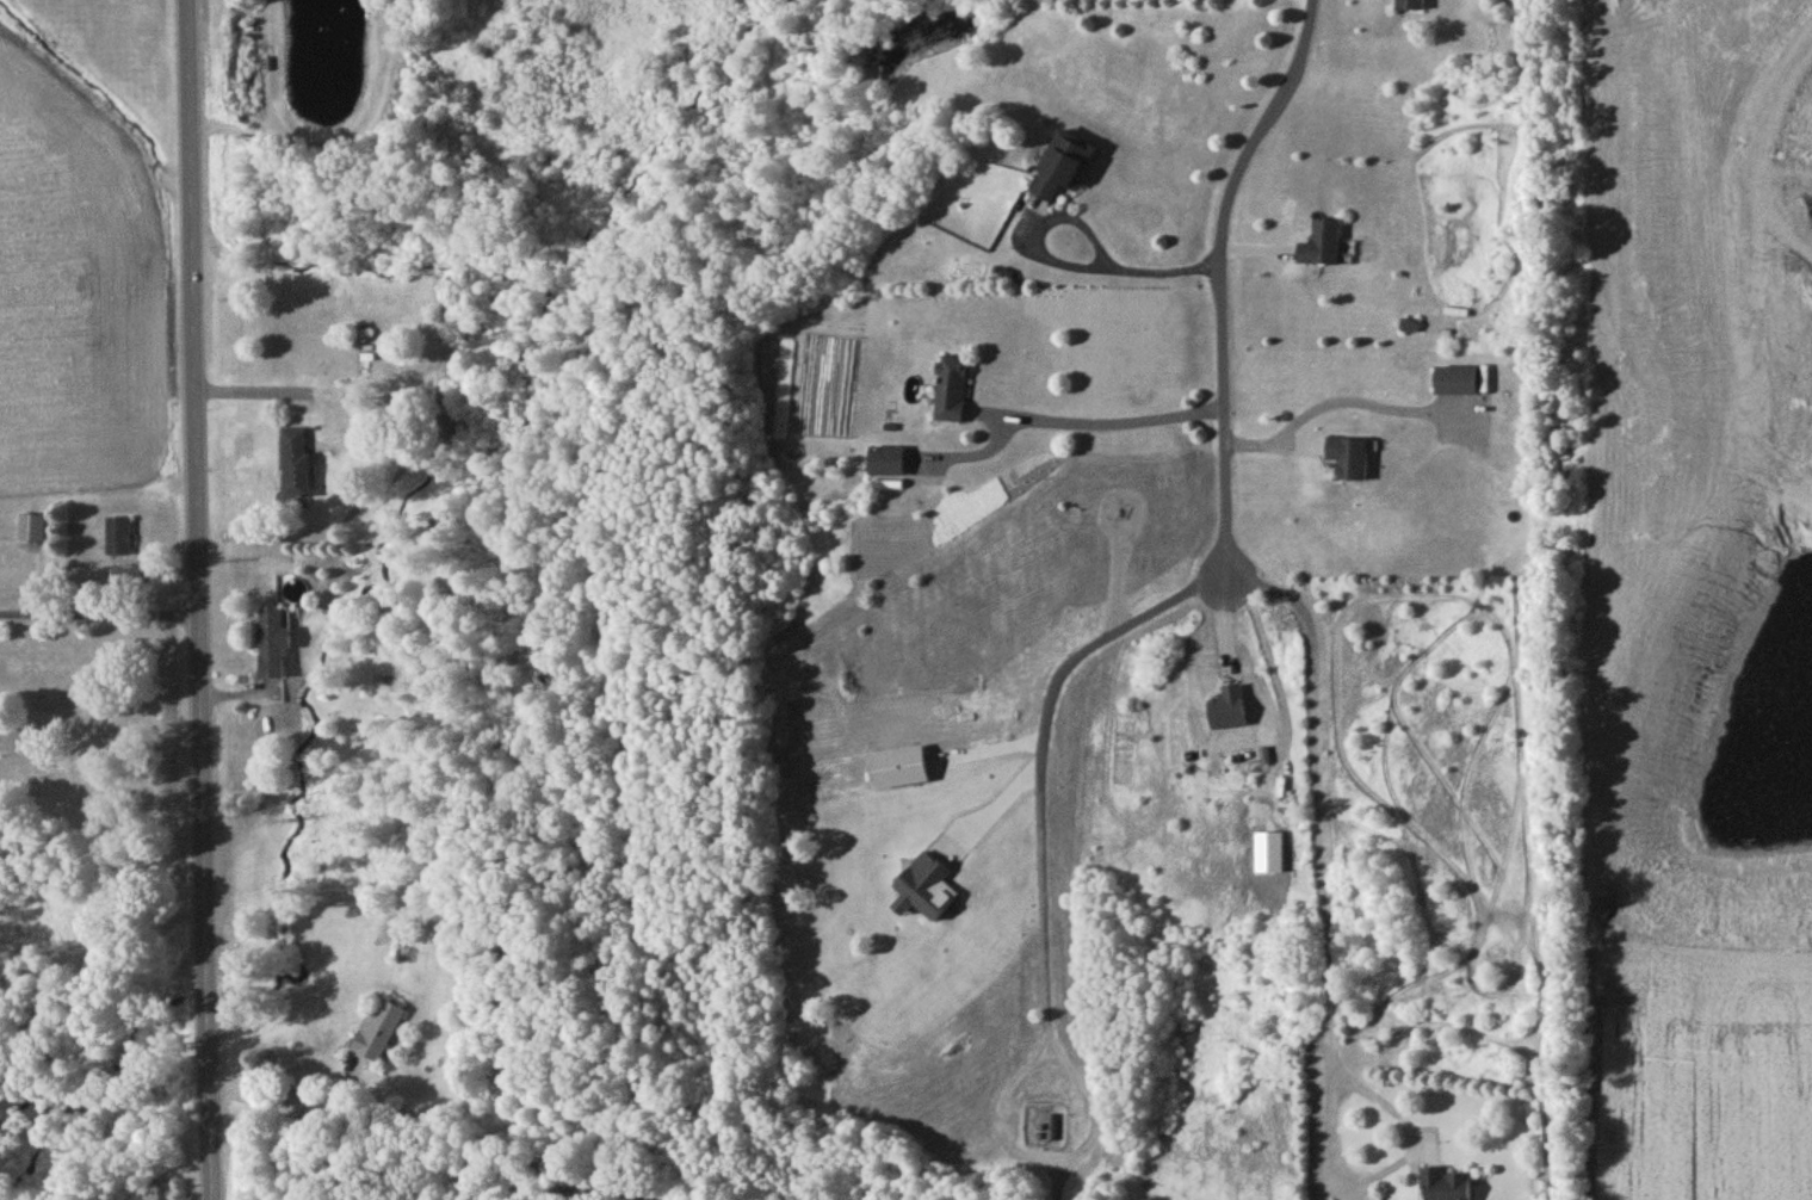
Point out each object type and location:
building: (1411, 7)
building: (1064, 168)
building: (1322, 248)
road: (1139, 272)
road: (1222, 284)
building: (1455, 383)
road: (1330, 388)
building: (952, 391)
road: (1101, 425)
building: (1348, 459)
building: (886, 464)
building: (295, 465)
building: (31, 531)
building: (118, 538)
building: (125, 577)
road: (198, 599)
road: (99, 613)
building: (272, 647)
road: (1322, 802)
road: (1043, 856)
building: (378, 1033)
road: (285, 1111)
building: (1055, 1130)
road: (1409, 1131)
road: (1332, 1138)
building: (1443, 1186)

